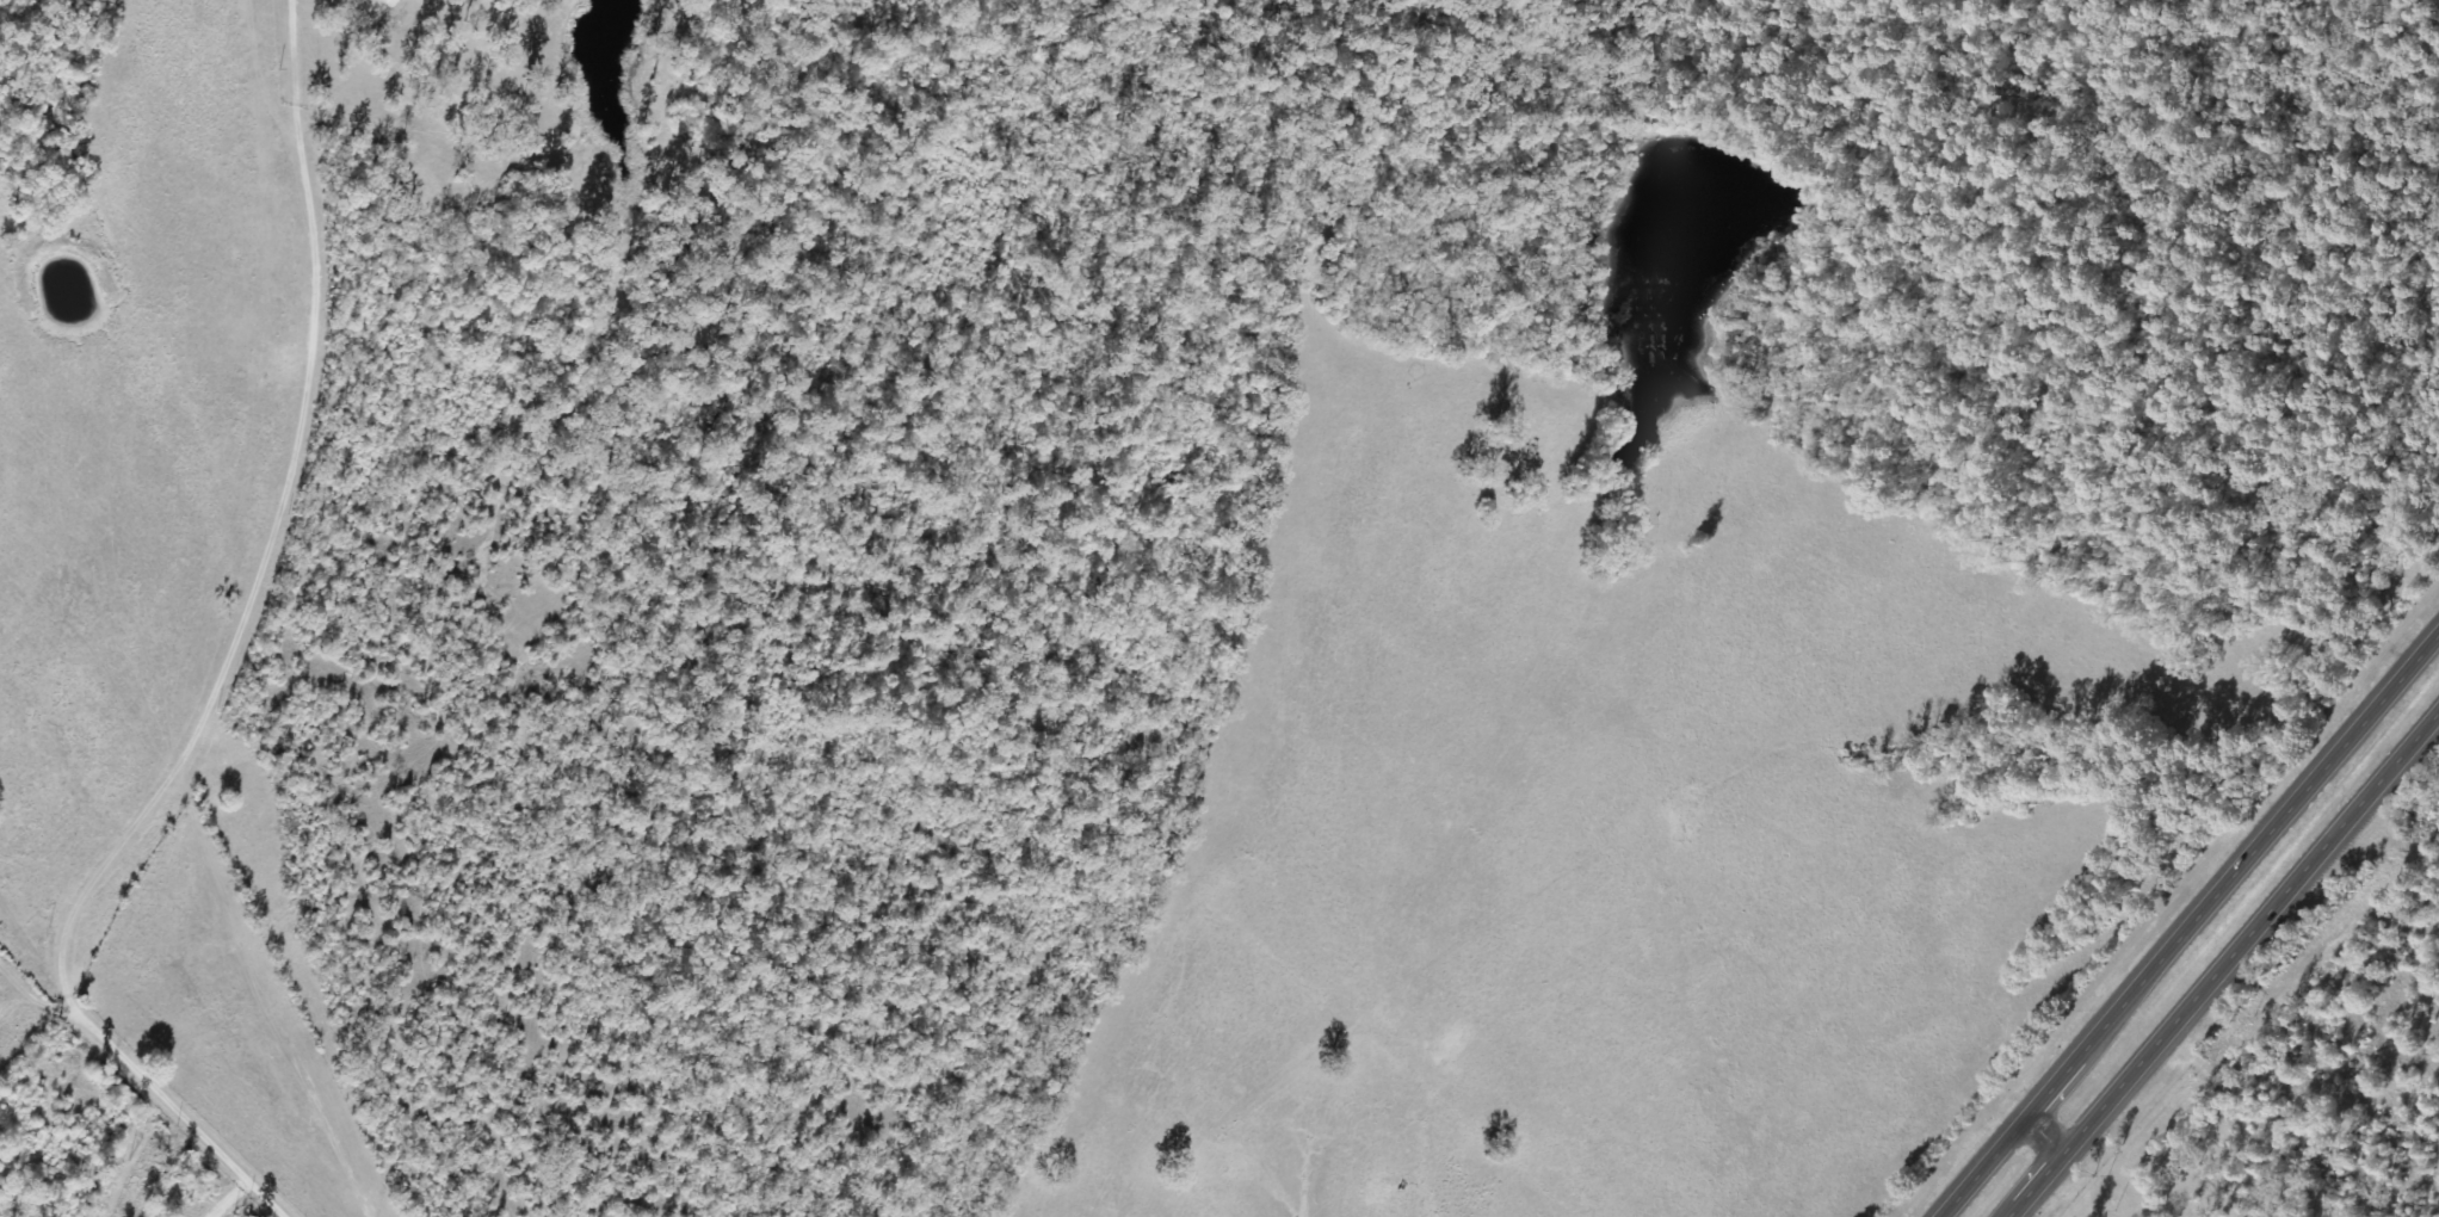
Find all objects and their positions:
building: (382, 1)
road: (305, 537)
road: (2270, 833)
road: (2250, 931)
road: (48, 1007)
road: (2064, 1073)
road: (190, 1120)
road: (2070, 1165)
road: (1986, 1166)
road: (2034, 1185)

